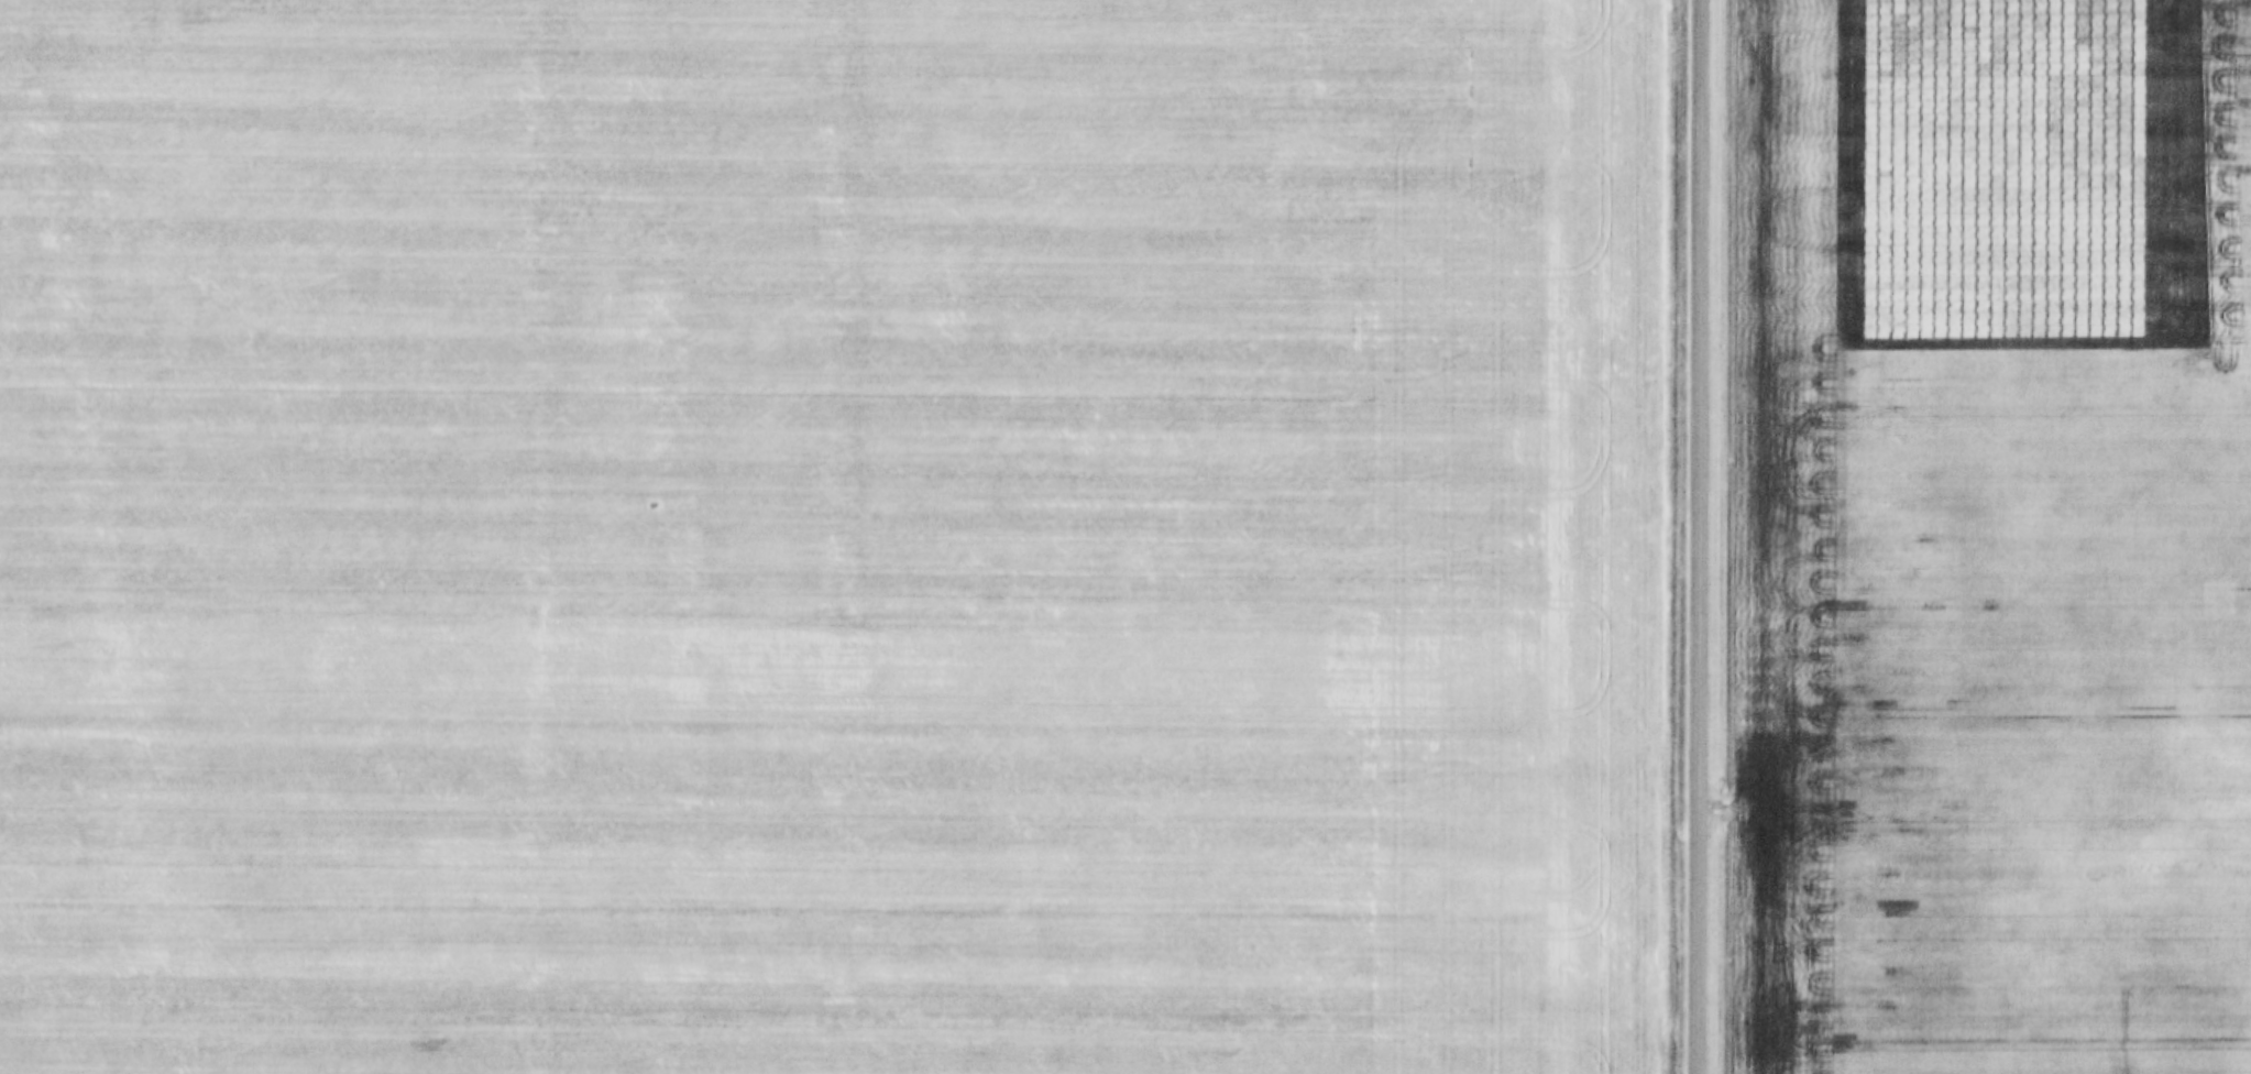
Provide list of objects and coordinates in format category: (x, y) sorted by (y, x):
road: (1703, 537)

